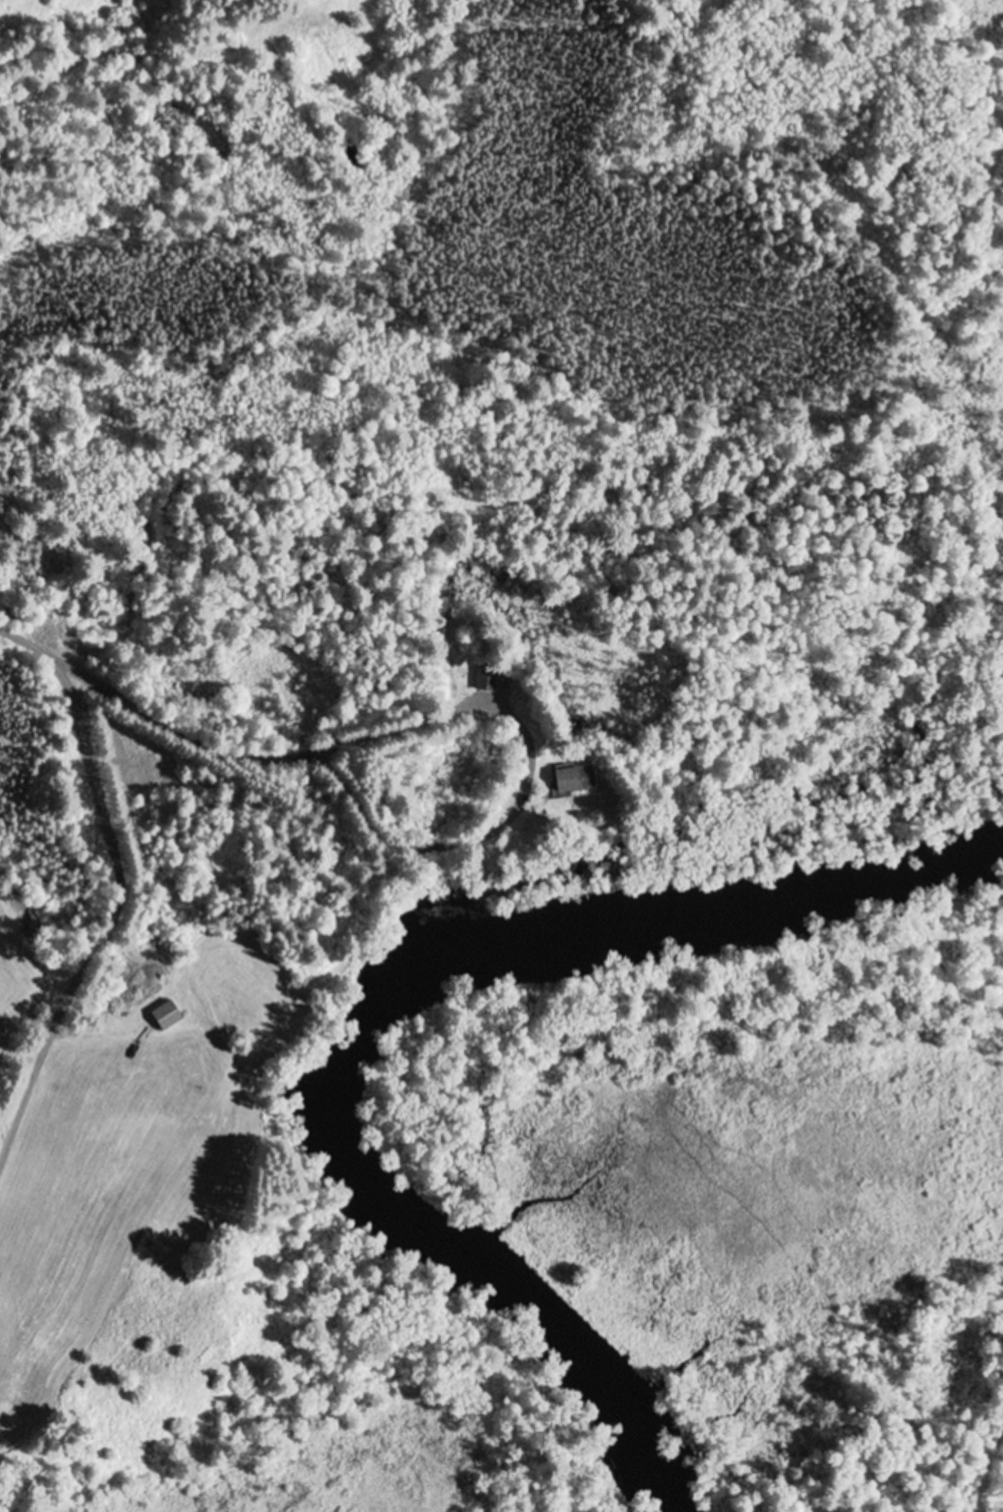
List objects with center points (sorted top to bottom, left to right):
building: (487, 679)
building: (575, 781)
road: (125, 889)
river: (383, 1001)
building: (167, 1017)
building: (193, 1080)

